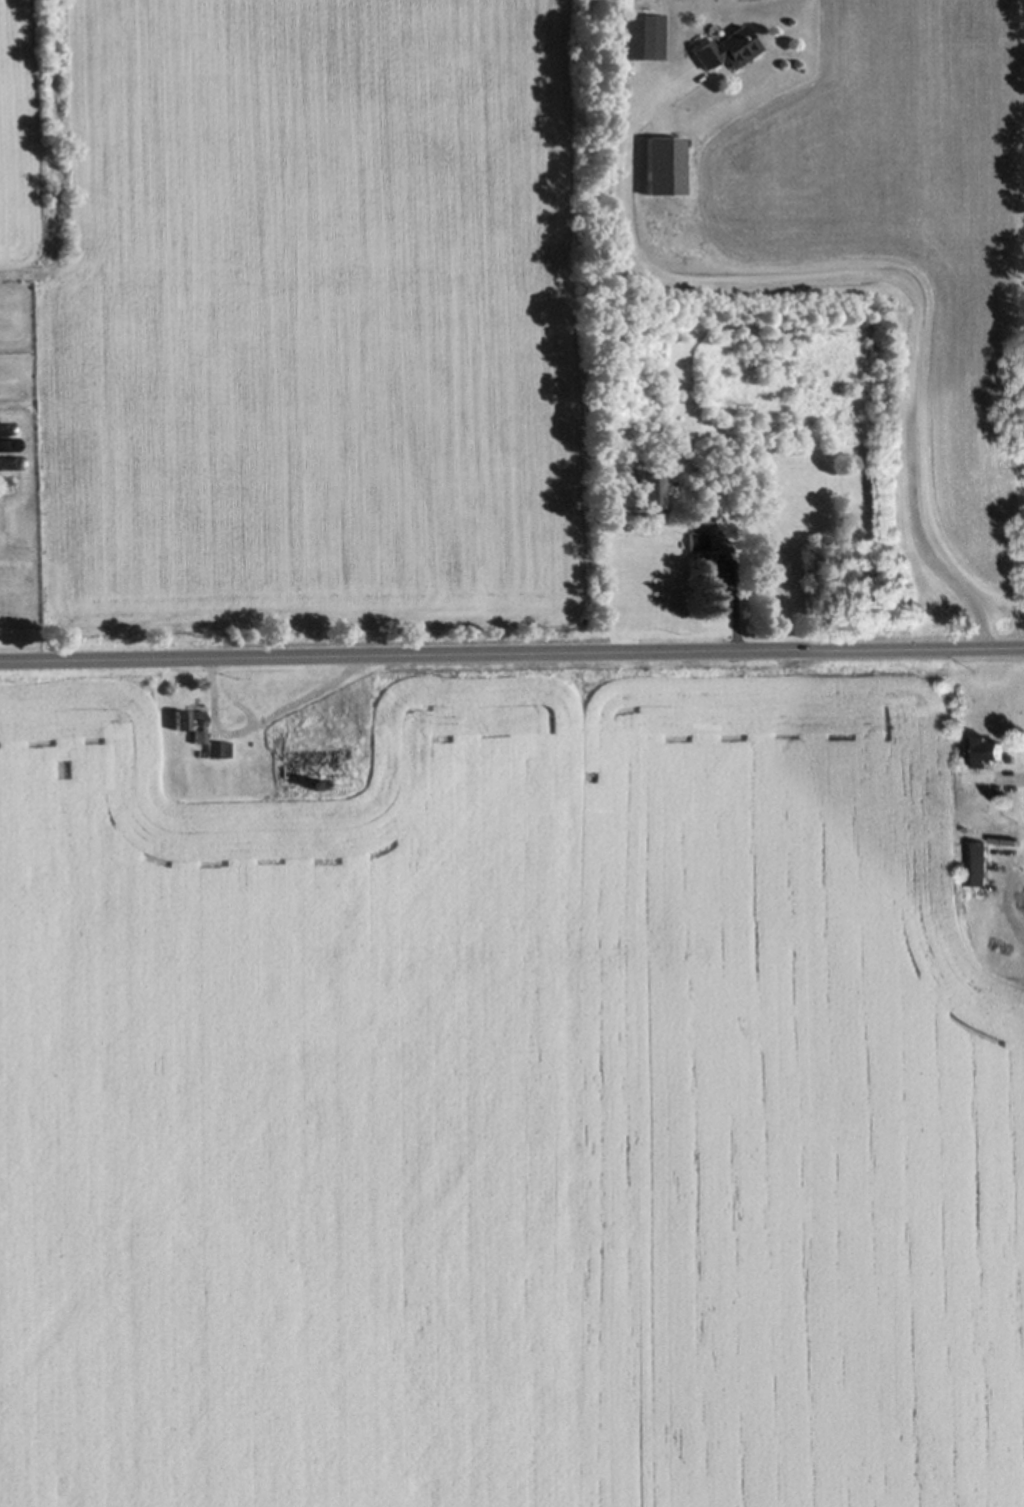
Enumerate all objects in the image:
building: (643, 38)
building: (727, 50)
building: (665, 167)
building: (645, 492)
building: (696, 544)
building: (713, 574)
road: (512, 654)
building: (191, 725)
building: (986, 752)
building: (314, 765)
building: (976, 864)

